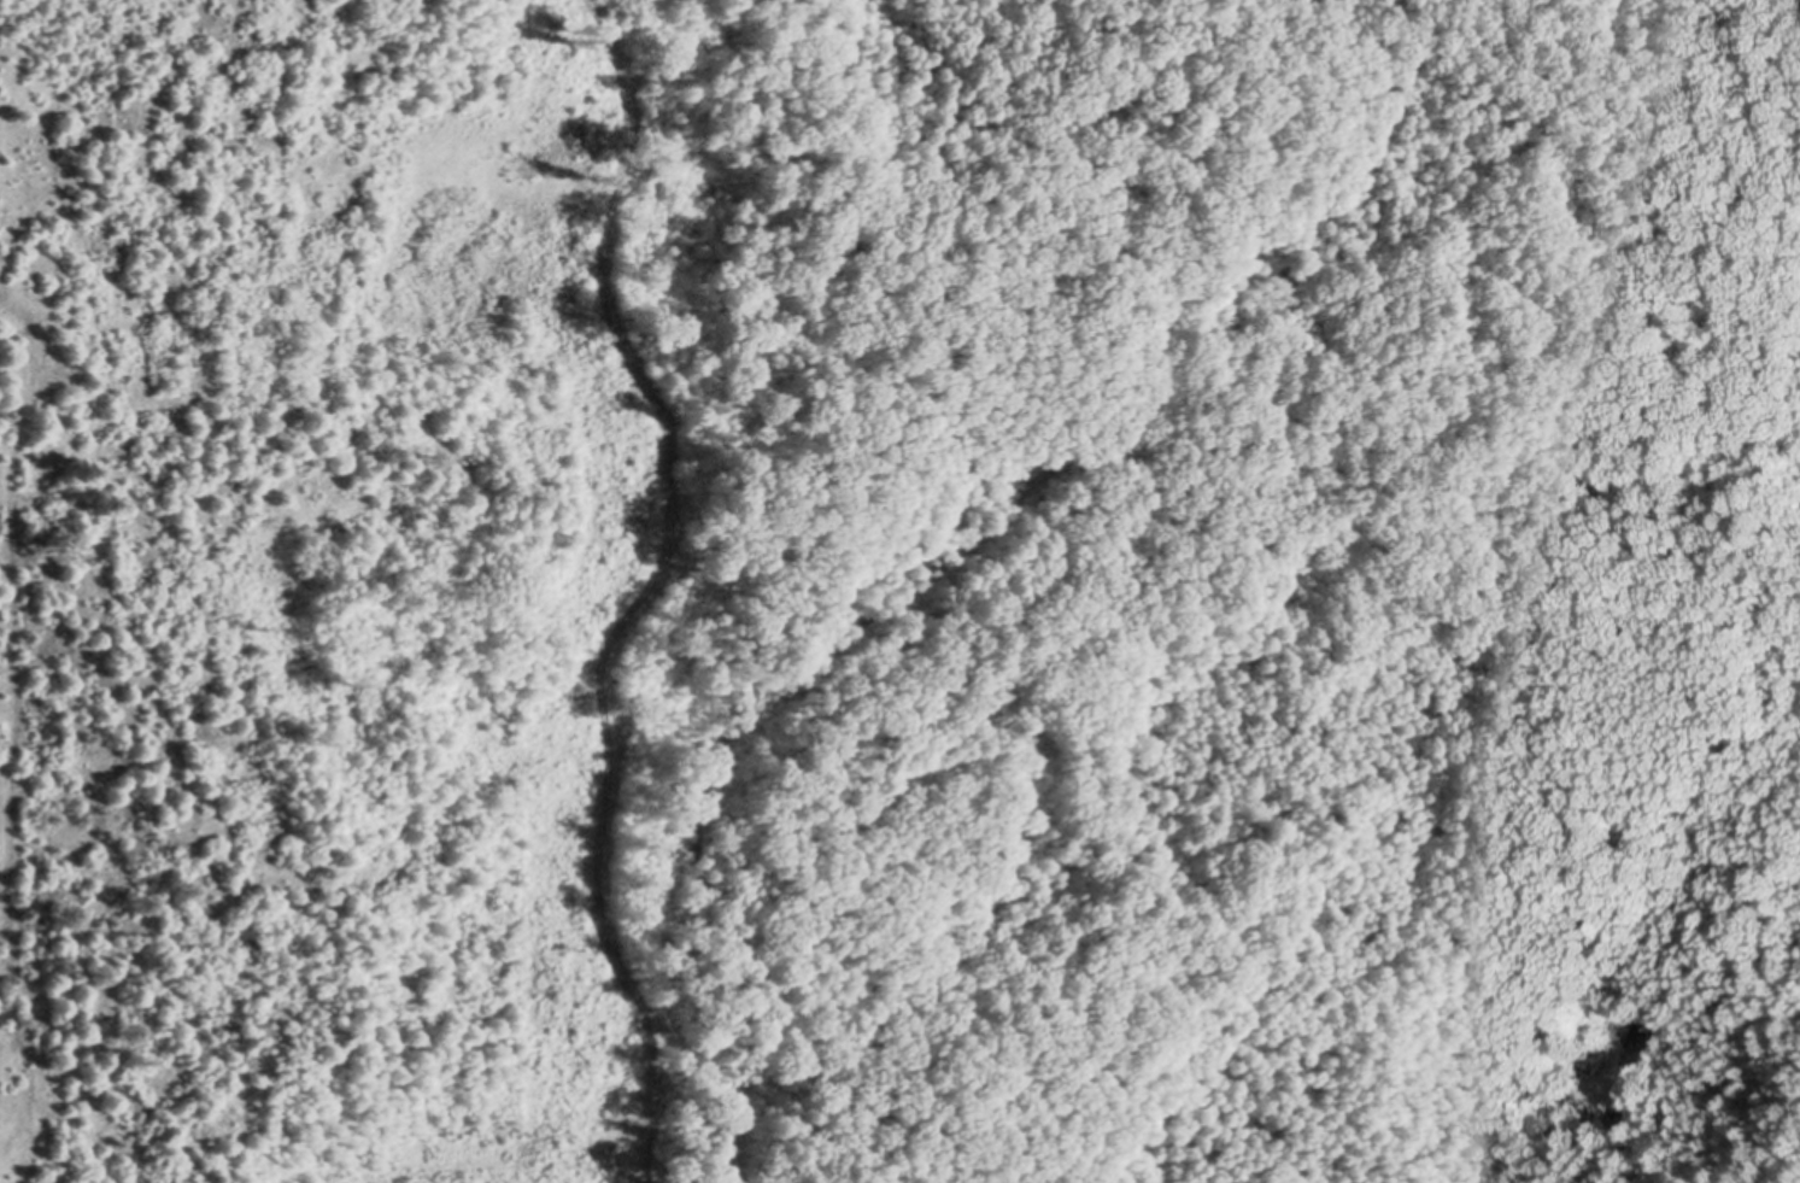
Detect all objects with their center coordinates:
road: (652, 591)

